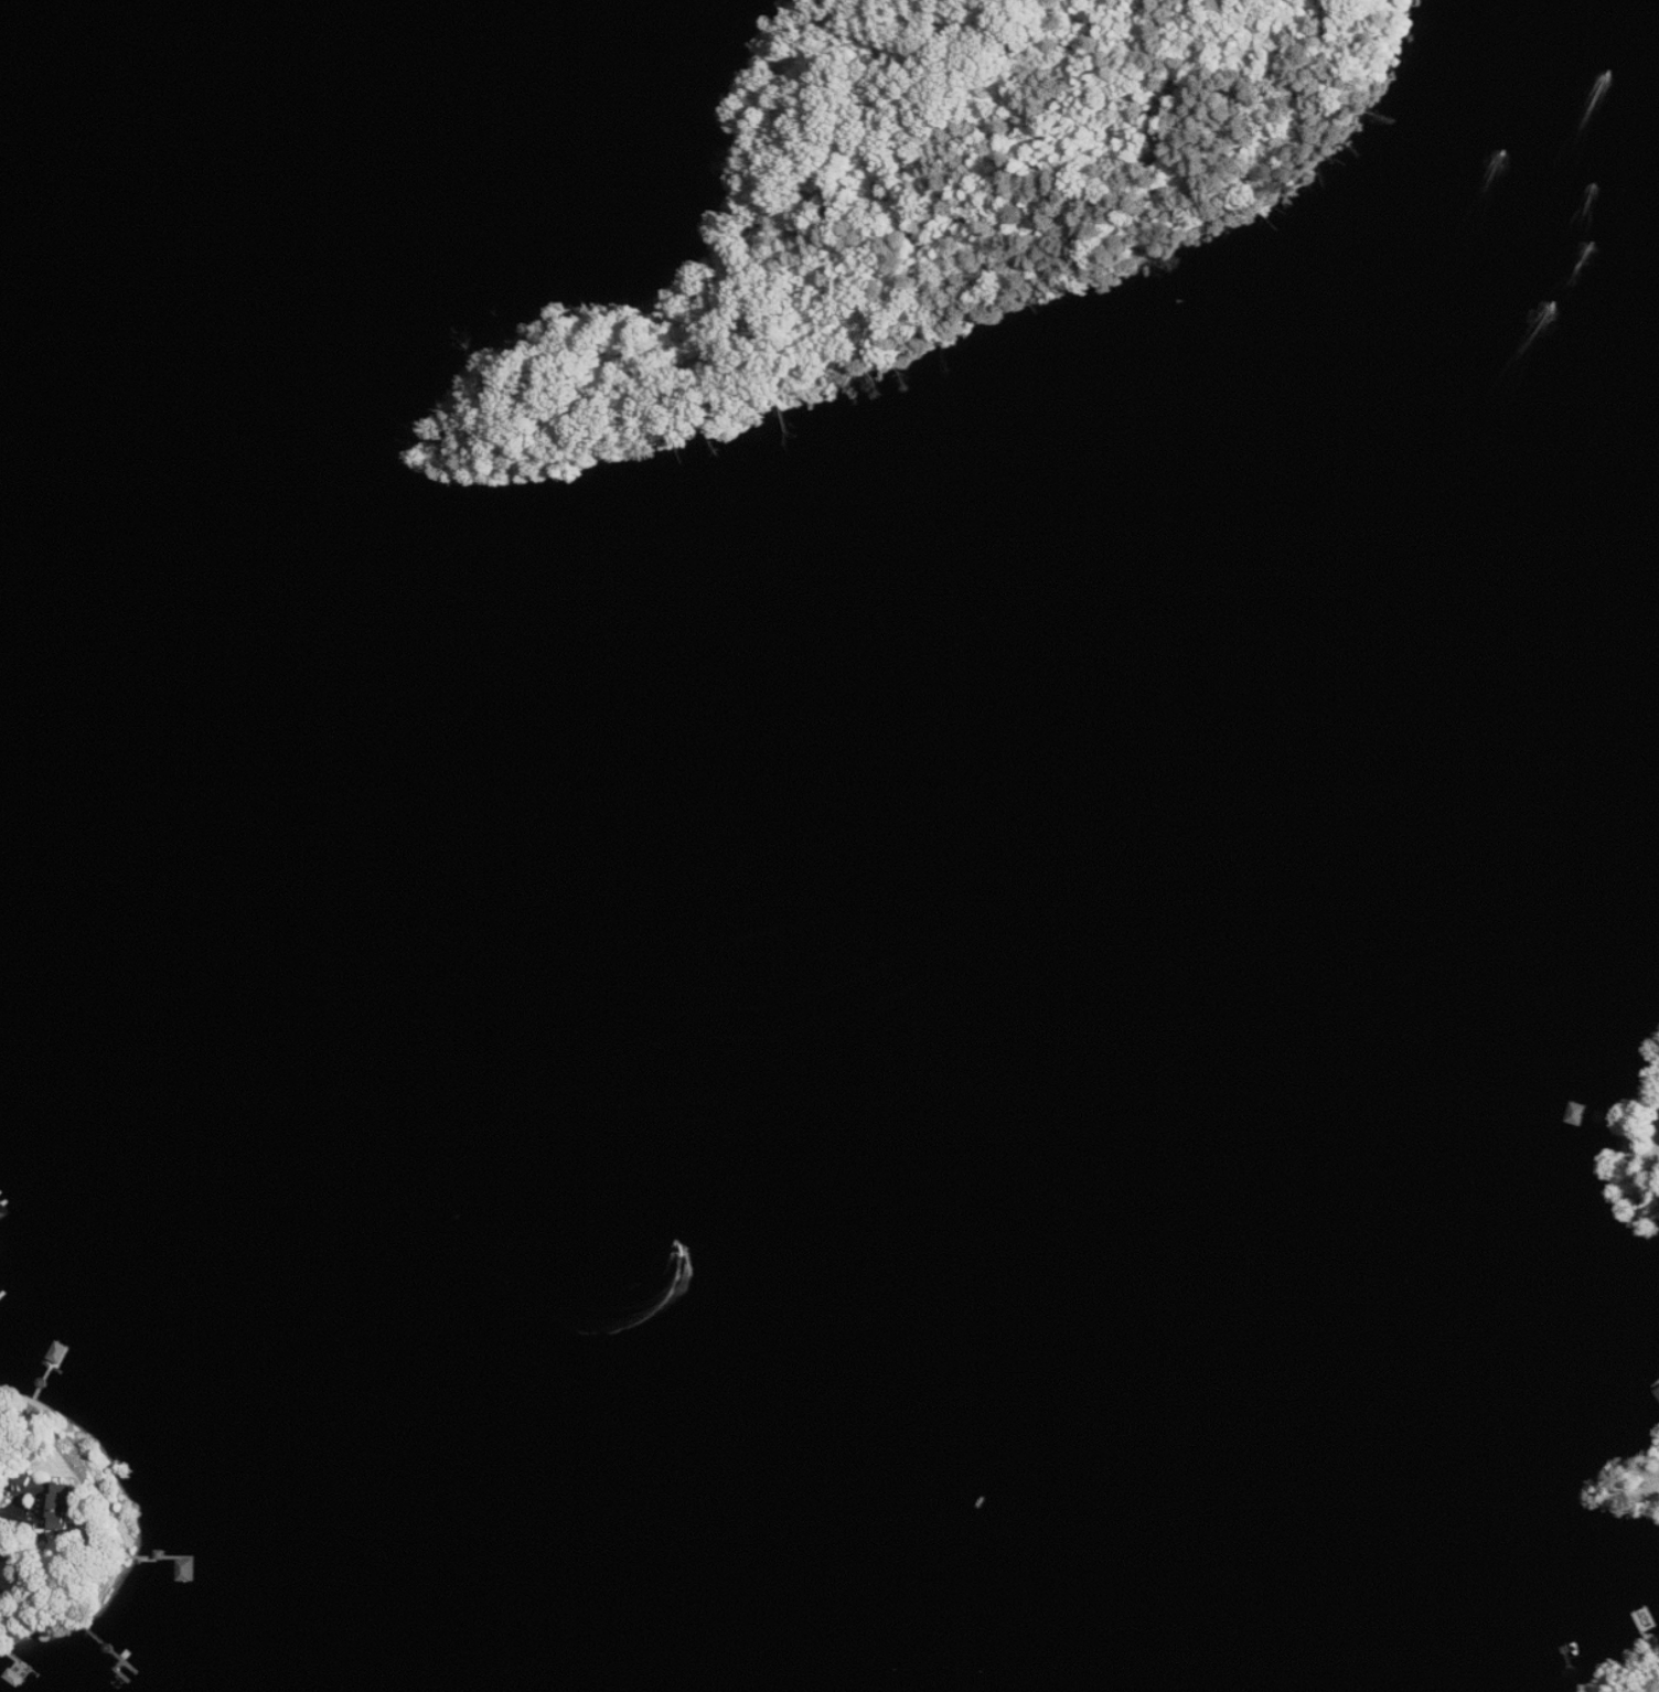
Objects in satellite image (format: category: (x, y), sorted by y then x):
river: (44, 51)
building: (53, 1501)
road: (8, 1511)
building: (2, 1572)

